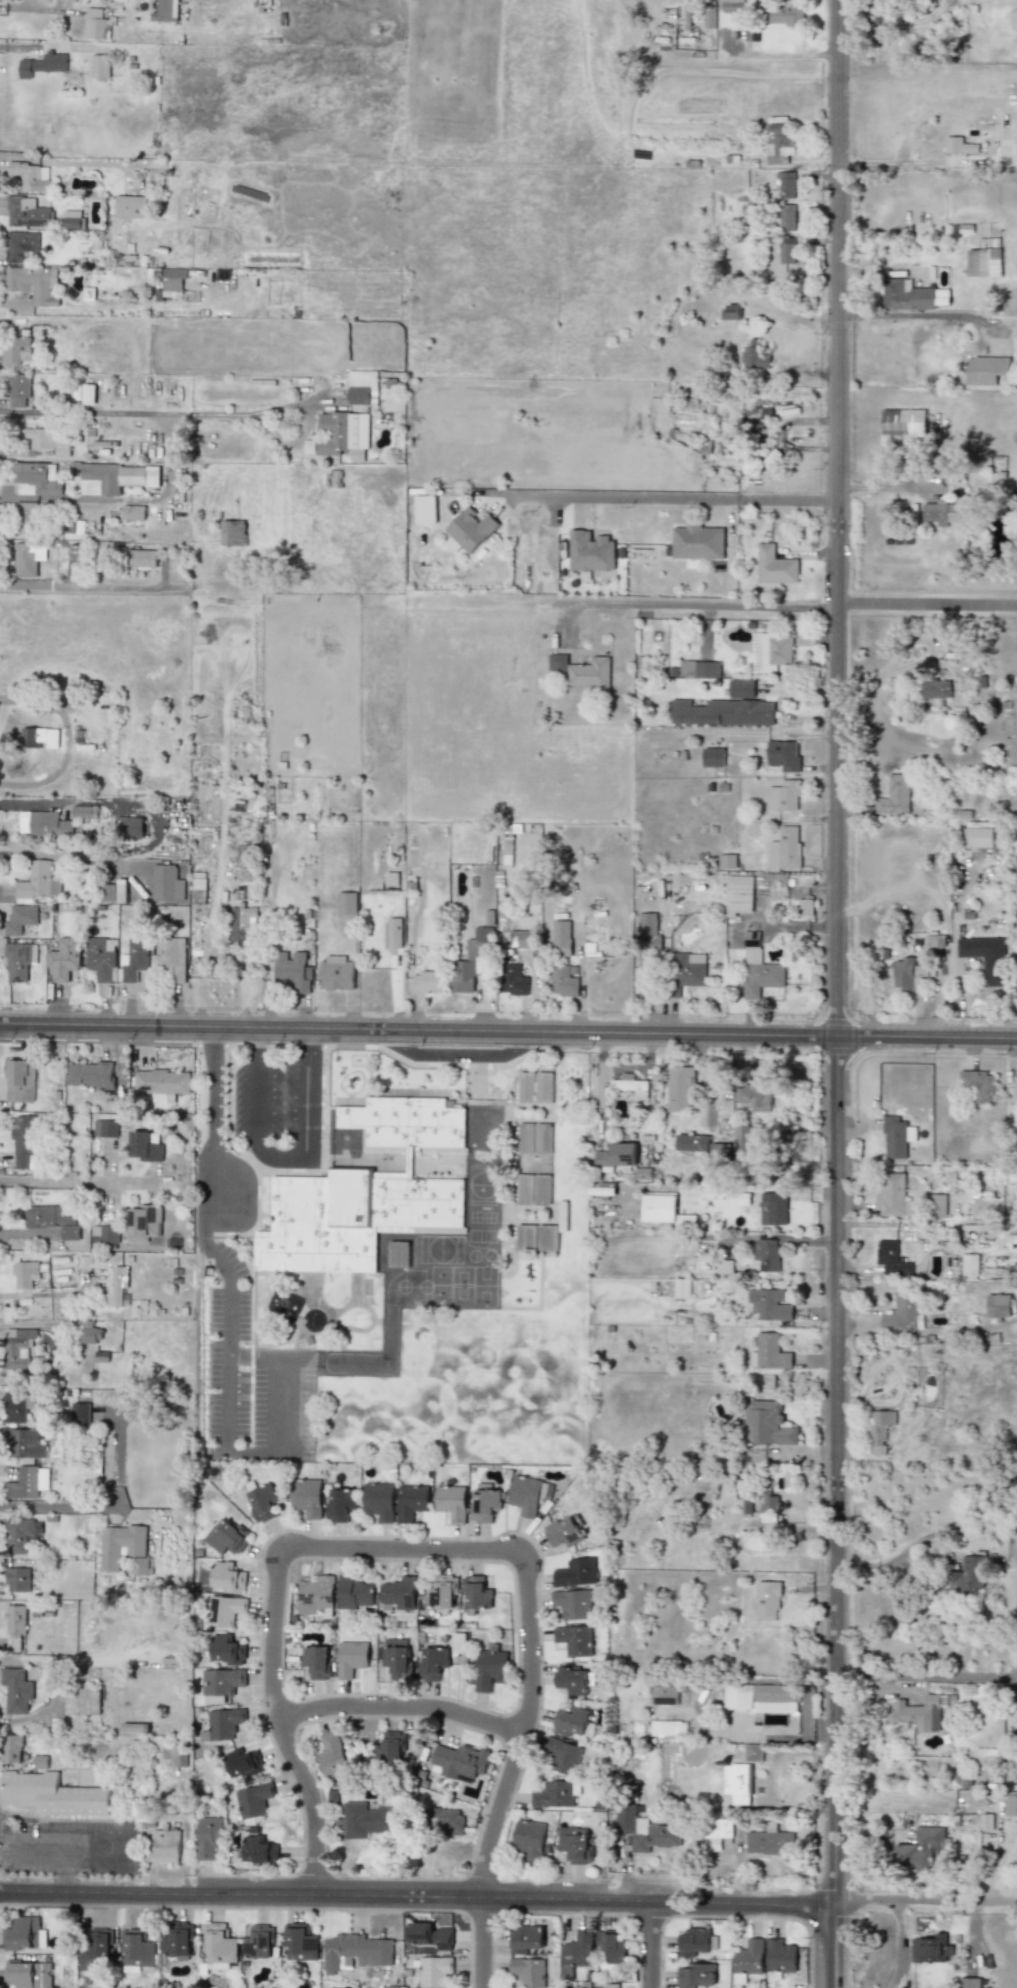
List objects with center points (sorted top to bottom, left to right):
building: (732, 6)
road: (16, 8)
building: (167, 10)
building: (788, 14)
building: (709, 17)
building: (97, 24)
building: (43, 65)
building: (100, 66)
building: (779, 142)
building: (956, 145)
road: (920, 164)
building: (31, 176)
building: (787, 185)
building: (130, 206)
building: (26, 212)
building: (786, 218)
building: (72, 219)
building: (20, 245)
building: (786, 250)
building: (984, 259)
building: (172, 281)
building: (33, 283)
building: (911, 296)
building: (731, 311)
road: (914, 314)
building: (16, 349)
building: (755, 356)
building: (986, 370)
building: (361, 386)
building: (18, 390)
building: (88, 394)
road: (146, 415)
building: (758, 417)
building: (903, 422)
building: (342, 434)
building: (50, 440)
building: (116, 477)
building: (36, 479)
road: (658, 501)
building: (419, 509)
building: (132, 513)
building: (941, 513)
building: (28, 516)
building: (468, 530)
building: (232, 533)
building: (697, 542)
building: (590, 551)
building: (28, 558)
building: (142, 559)
building: (774, 566)
road: (80, 587)
road: (927, 606)
road: (694, 608)
building: (770, 652)
building: (699, 669)
building: (582, 673)
building: (936, 688)
building: (741, 689)
building: (723, 712)
building: (38, 738)
building: (783, 755)
building: (713, 757)
building: (783, 796)
building: (894, 796)
building: (81, 812)
building: (43, 824)
building: (128, 826)
road: (153, 827)
building: (976, 837)
building: (784, 849)
building: (507, 852)
building: (726, 861)
building: (37, 883)
building: (166, 883)
building: (198, 884)
building: (121, 891)
building: (738, 895)
building: (346, 903)
building: (803, 908)
building: (20, 919)
building: (242, 925)
building: (648, 931)
building: (392, 933)
building: (561, 938)
building: (520, 939)
building: (985, 957)
building: (101, 958)
building: (171, 958)
building: (63, 959)
building: (134, 959)
building: (19, 960)
building: (475, 961)
building: (758, 968)
building: (690, 969)
building: (291, 970)
building: (335, 973)
building: (907, 973)
building: (513, 980)
building: (563, 981)
building: (427, 982)
road: (836, 994)
road: (417, 1030)
road: (926, 1038)
building: (89, 1074)
building: (20, 1081)
building: (162, 1082)
building: (979, 1084)
building: (630, 1085)
building: (526, 1087)
building: (1014, 1087)
building: (544, 1088)
building: (679, 1089)
road: (258, 1090)
road: (310, 1094)
building: (753, 1097)
building: (95, 1128)
building: (108, 1128)
road: (214, 1134)
building: (896, 1136)
building: (534, 1138)
building: (743, 1140)
building: (24, 1142)
building: (691, 1142)
building: (144, 1147)
building: (719, 1150)
building: (616, 1155)
road: (283, 1156)
building: (643, 1174)
road: (78, 1182)
building: (533, 1189)
building: (365, 1191)
building: (893, 1195)
building: (938, 1205)
building: (769, 1208)
building: (665, 1210)
building: (562, 1216)
building: (51, 1220)
building: (143, 1222)
building: (104, 1234)
building: (526, 1237)
building: (547, 1237)
road: (800, 1242)
building: (398, 1254)
building: (767, 1254)
building: (891, 1259)
building: (969, 1264)
building: (24, 1274)
building: (117, 1286)
building: (681, 1288)
building: (769, 1304)
building: (998, 1306)
building: (903, 1313)
building: (91, 1335)
road: (229, 1341)
building: (17, 1348)
road: (64, 1349)
building: (770, 1352)
building: (18, 1405)
road: (282, 1409)
building: (80, 1413)
building: (767, 1424)
building: (879, 1430)
building: (25, 1443)
road: (254, 1452)
building: (28, 1482)
building: (526, 1496)
building: (307, 1497)
building: (379, 1501)
building: (411, 1502)
building: (451, 1502)
building: (263, 1503)
building: (484, 1503)
building: (341, 1504)
building: (744, 1505)
road: (105, 1507)
building: (769, 1509)
building: (563, 1532)
building: (20, 1534)
building: (225, 1537)
building: (120, 1545)
road: (401, 1549)
road: (891, 1558)
building: (141, 1565)
building: (576, 1572)
building: (968, 1574)
building: (227, 1577)
building: (16, 1579)
building: (441, 1592)
building: (354, 1593)
building: (477, 1594)
building: (399, 1595)
building: (316, 1596)
building: (767, 1601)
building: (572, 1604)
building: (224, 1610)
building: (15, 1626)
building: (574, 1640)
building: (226, 1649)
building: (396, 1657)
building: (351, 1658)
building: (316, 1661)
building: (433, 1662)
building: (489, 1666)
road: (928, 1674)
building: (571, 1680)
building: (221, 1684)
building: (16, 1690)
building: (664, 1694)
building: (760, 1697)
building: (81, 1701)
road: (399, 1709)
building: (571, 1721)
building: (224, 1723)
building: (135, 1727)
building: (665, 1728)
building: (10, 1748)
building: (390, 1748)
building: (753, 1753)
building: (331, 1754)
building: (174, 1755)
building: (563, 1756)
building: (460, 1761)
building: (239, 1764)
building: (736, 1783)
building: (556, 1794)
building: (52, 1795)
building: (253, 1801)
building: (1011, 1805)
building: (365, 1820)
building: (445, 1821)
building: (986, 1822)
building: (645, 1830)
building: (719, 1833)
building: (209, 1837)
building: (529, 1840)
building: (769, 1842)
road: (62, 1844)
building: (575, 1844)
building: (164, 1846)
building: (921, 1849)
building: (258, 1850)
road: (67, 1867)
road: (508, 1896)
building: (22, 1934)
building: (430, 1935)
building: (525, 1939)
building: (693, 1941)
road: (480, 1942)
road: (651, 1942)
building: (258, 1943)
building: (300, 1943)
building: (177, 1944)
building: (219, 1946)
road: (898, 1946)
building: (137, 1949)
building: (930, 1949)
building: (95, 1950)
building: (355, 1952)
building: (576, 1953)
building: (779, 1958)
building: (747, 1959)
building: (434, 1971)
building: (528, 1971)
building: (28, 1974)
building: (695, 1975)
building: (969, 1983)
building: (611, 1986)
building: (390, 1987)

